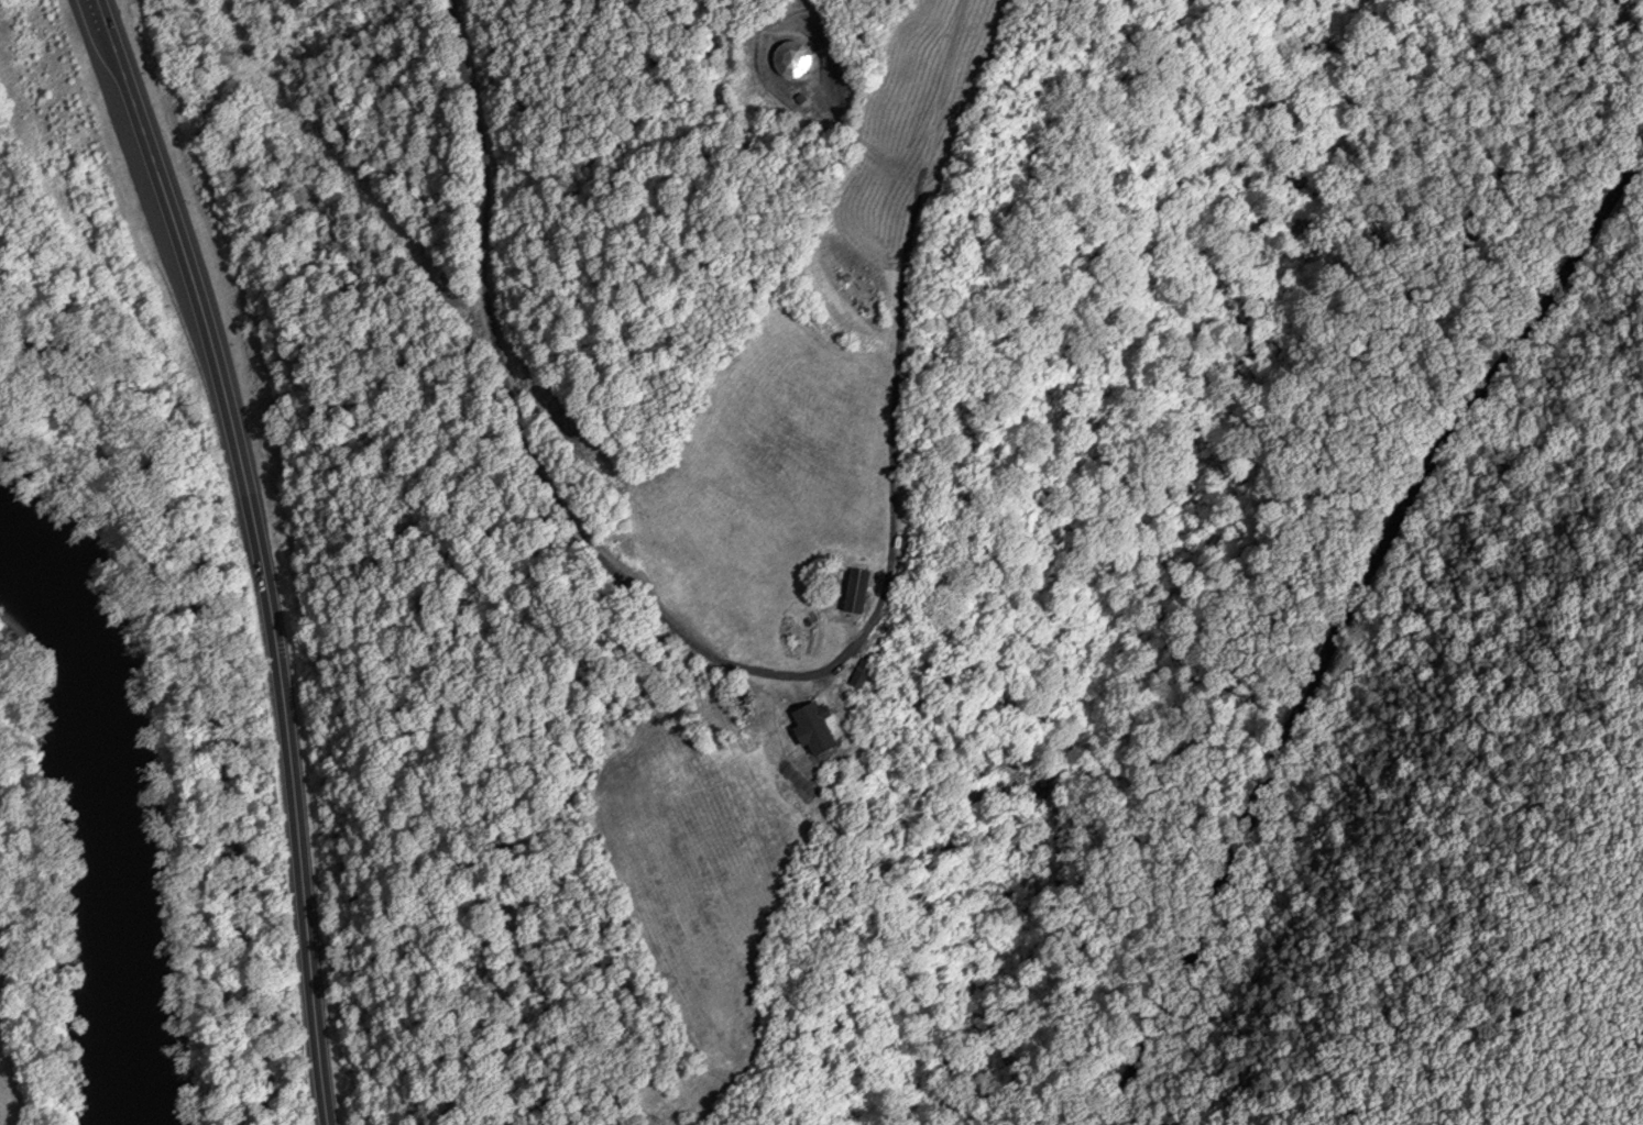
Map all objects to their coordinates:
building: (790, 58)
road: (259, 552)
building: (851, 589)
road: (1341, 620)
road: (672, 628)
road: (191, 712)
building: (808, 728)
river: (124, 801)

